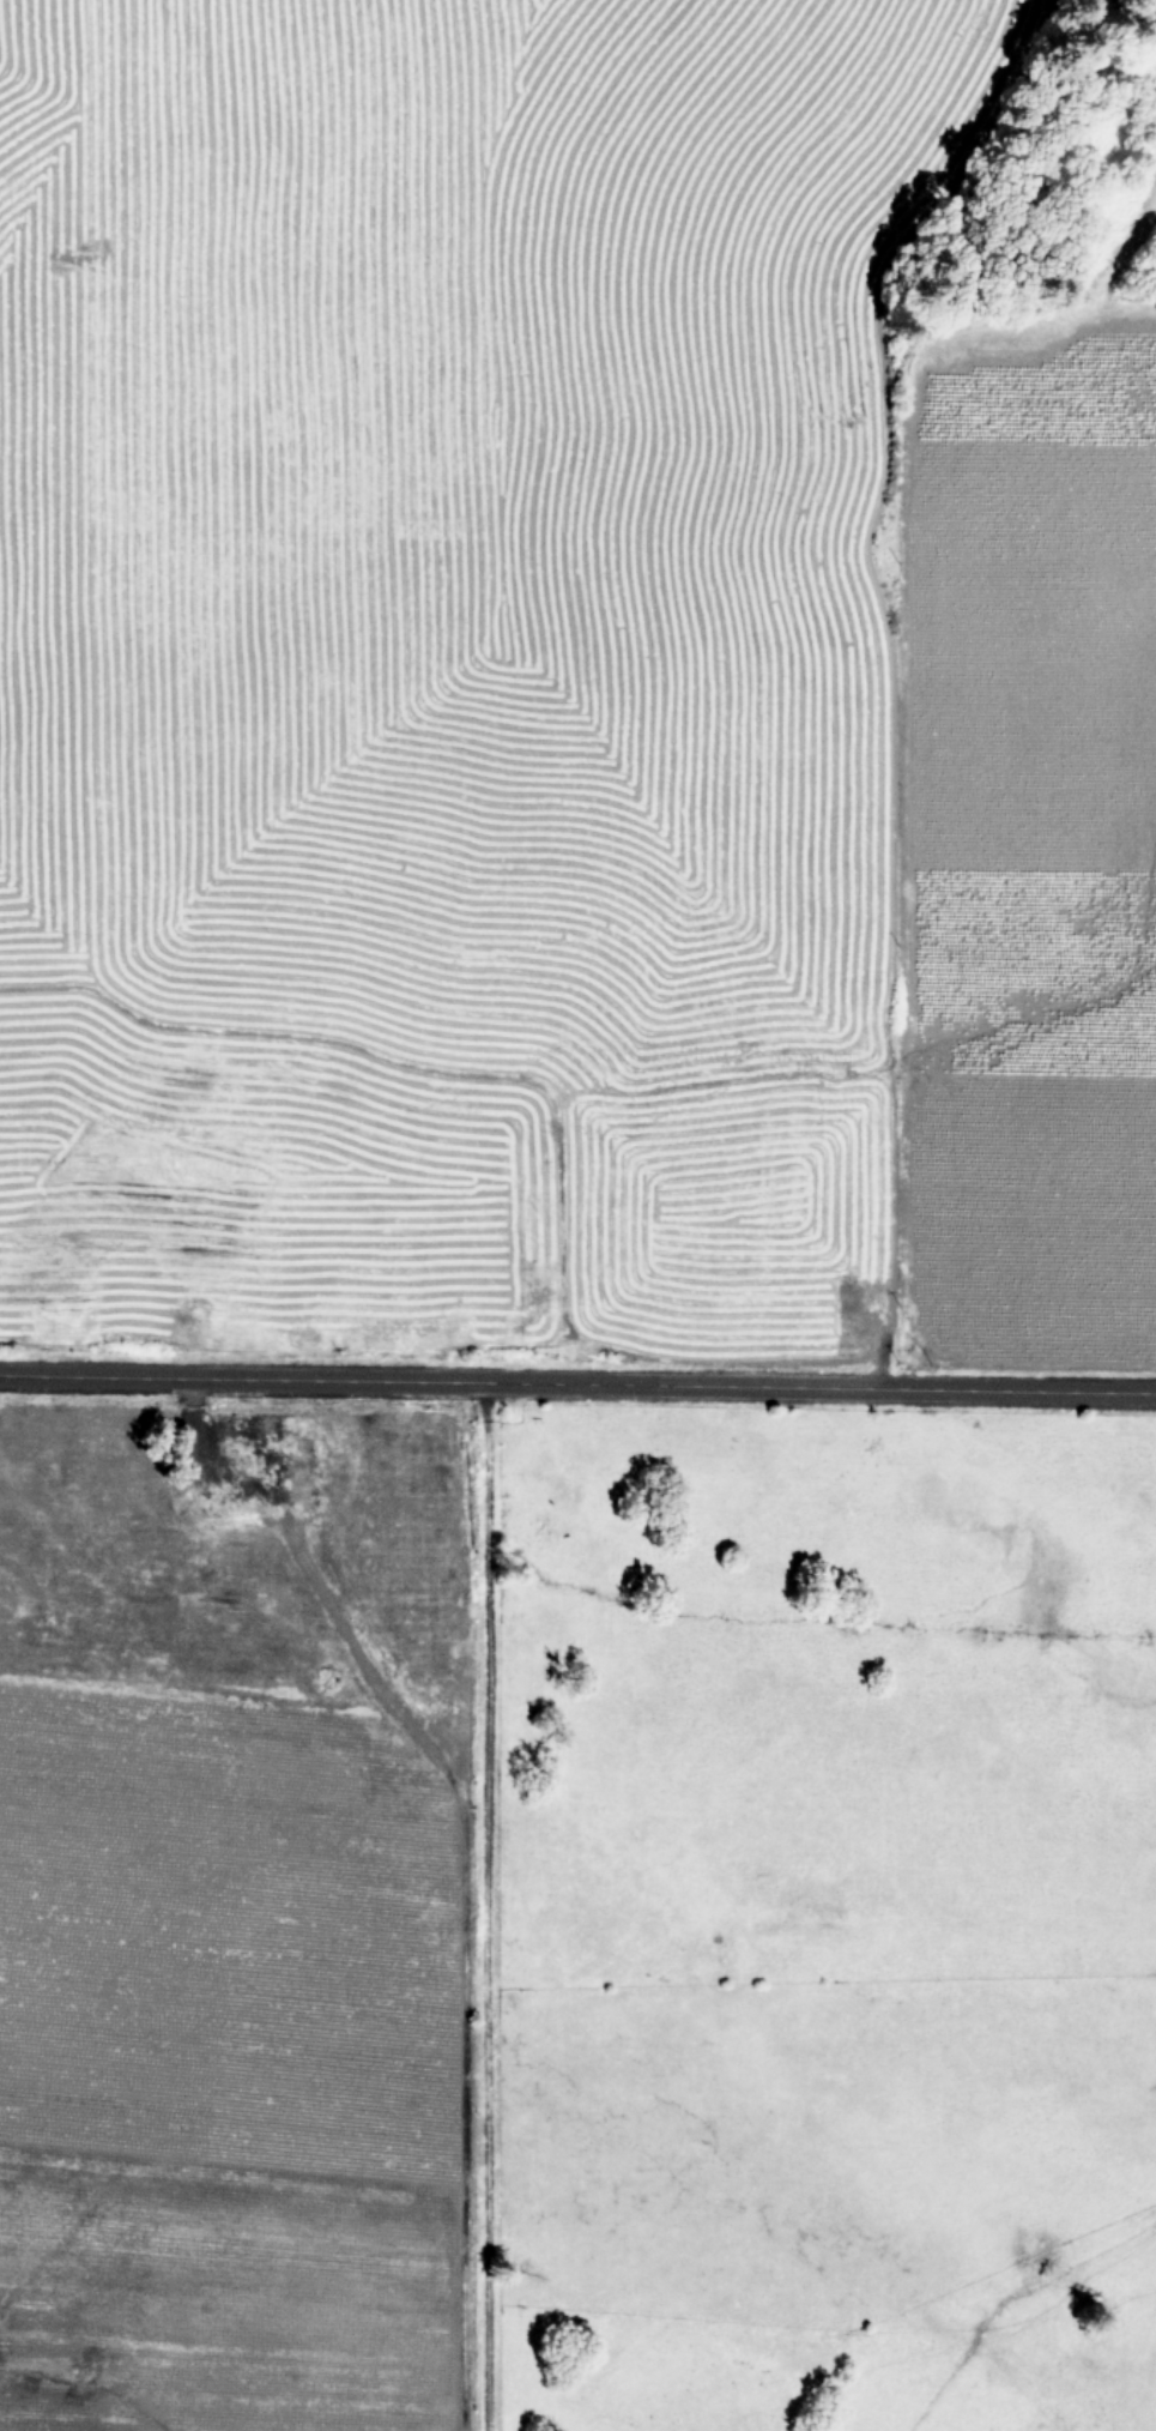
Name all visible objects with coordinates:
crop: (561, 686)
road: (577, 1388)
road: (482, 1908)
crop: (813, 1929)

